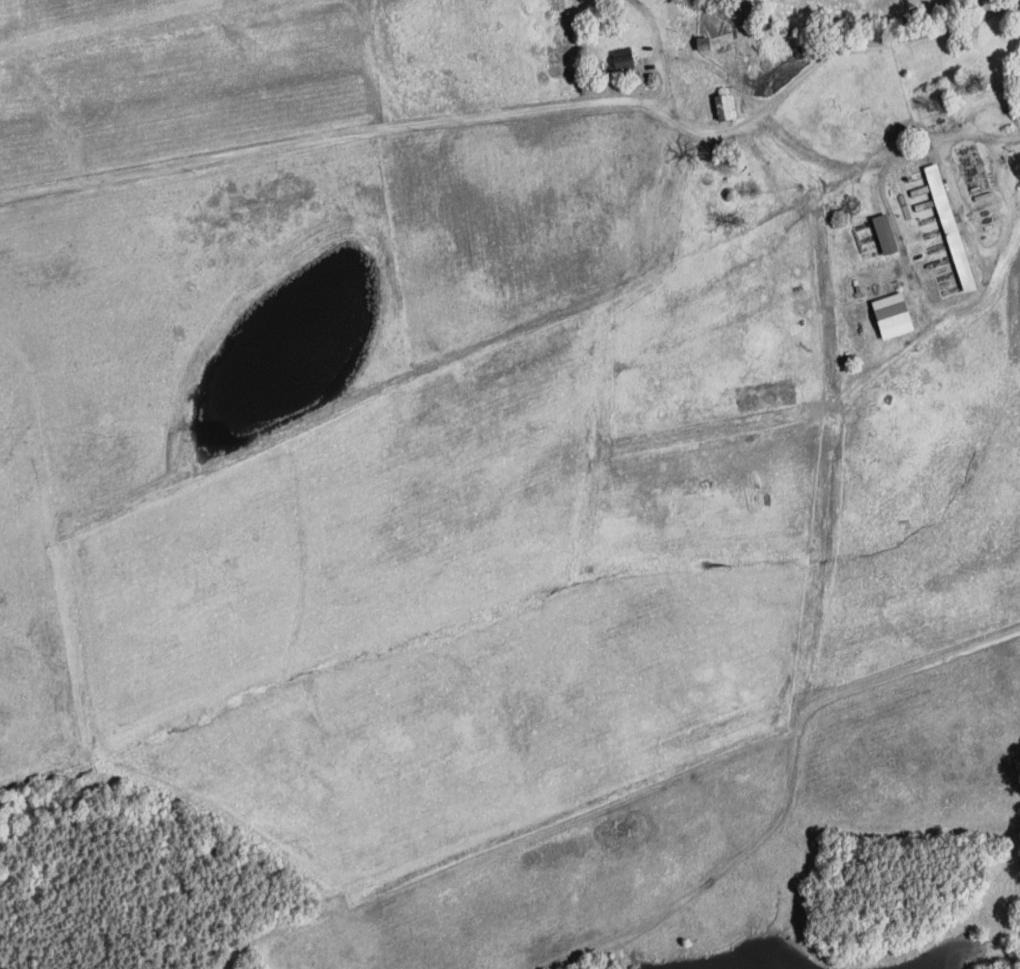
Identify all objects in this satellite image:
building: (627, 57)
building: (728, 105)
road: (522, 111)
road: (978, 132)
building: (953, 226)
building: (888, 232)
building: (901, 312)

